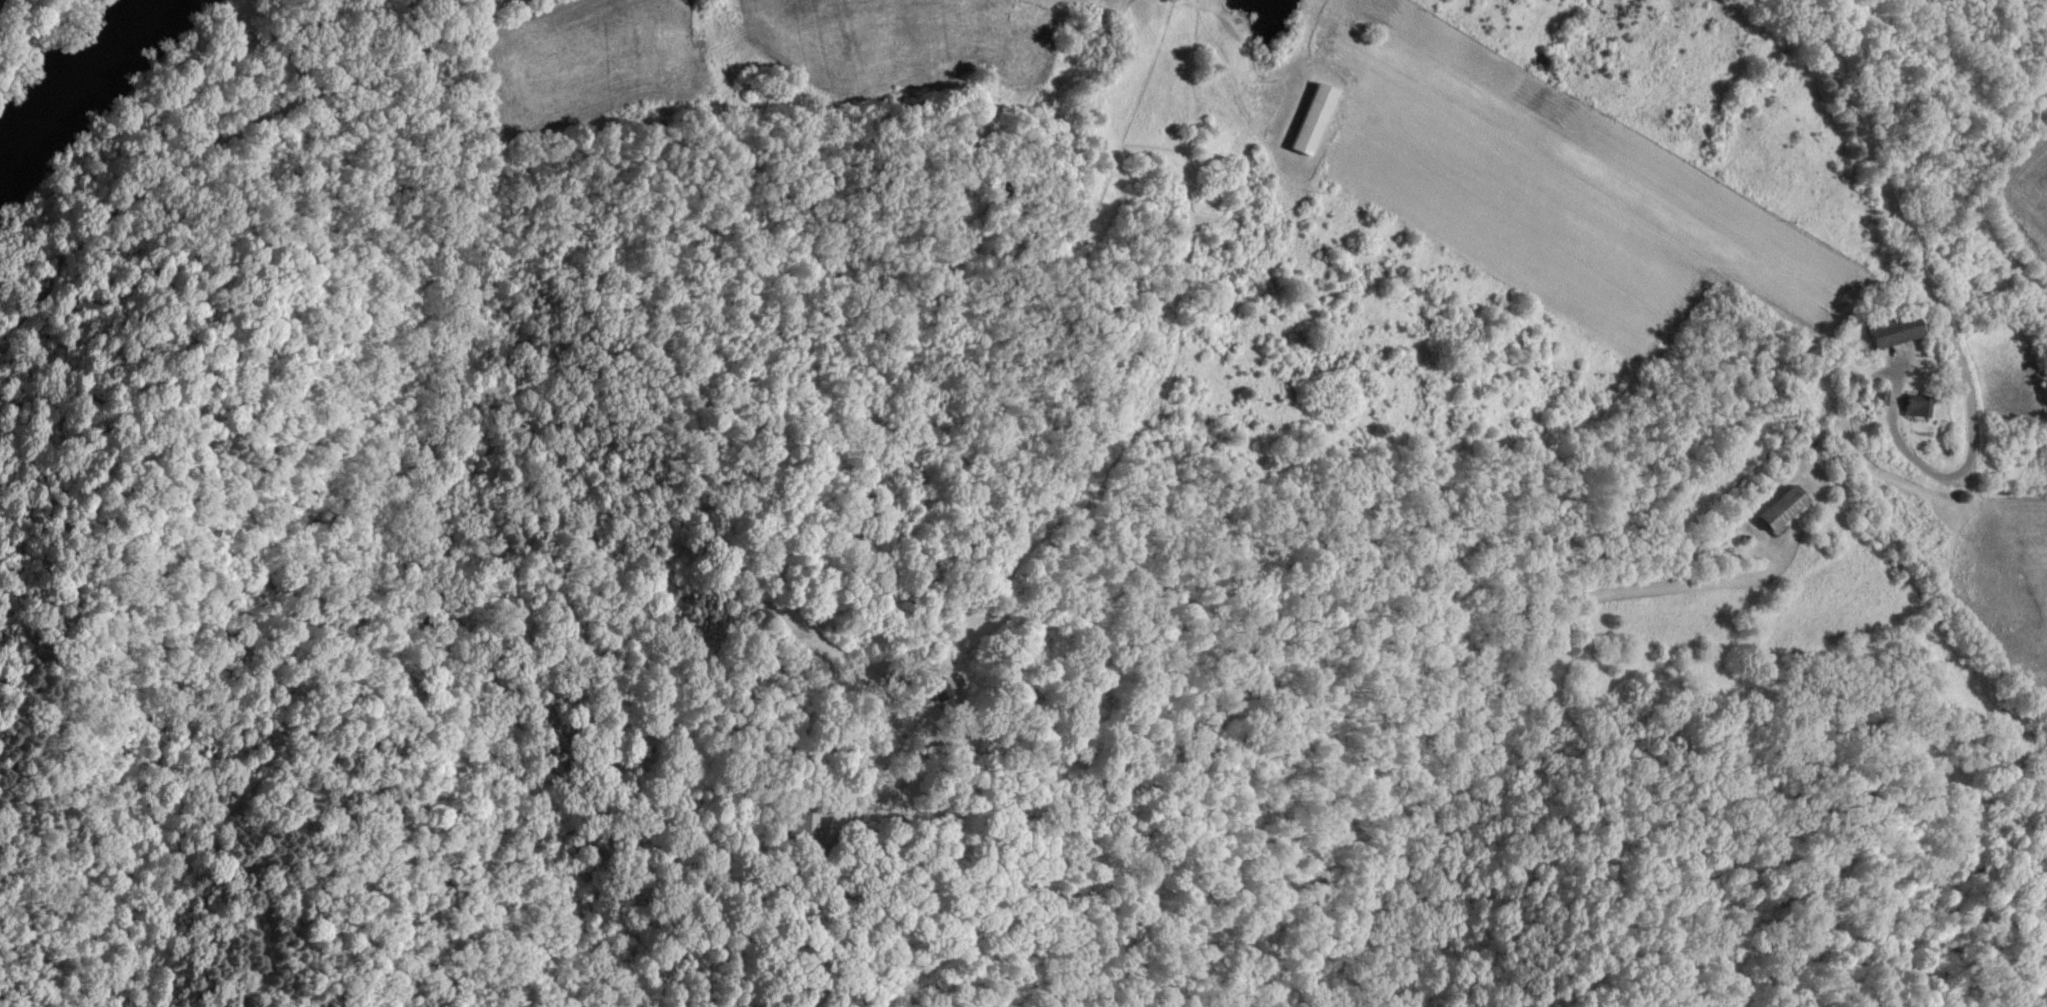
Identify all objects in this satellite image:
crop: (5, 5)
river: (85, 88)
building: (1307, 121)
road: (236, 139)
crop: (1516, 246)
road: (1940, 297)
building: (1912, 407)
building: (1775, 510)
building: (932, 688)
building: (800, 828)

